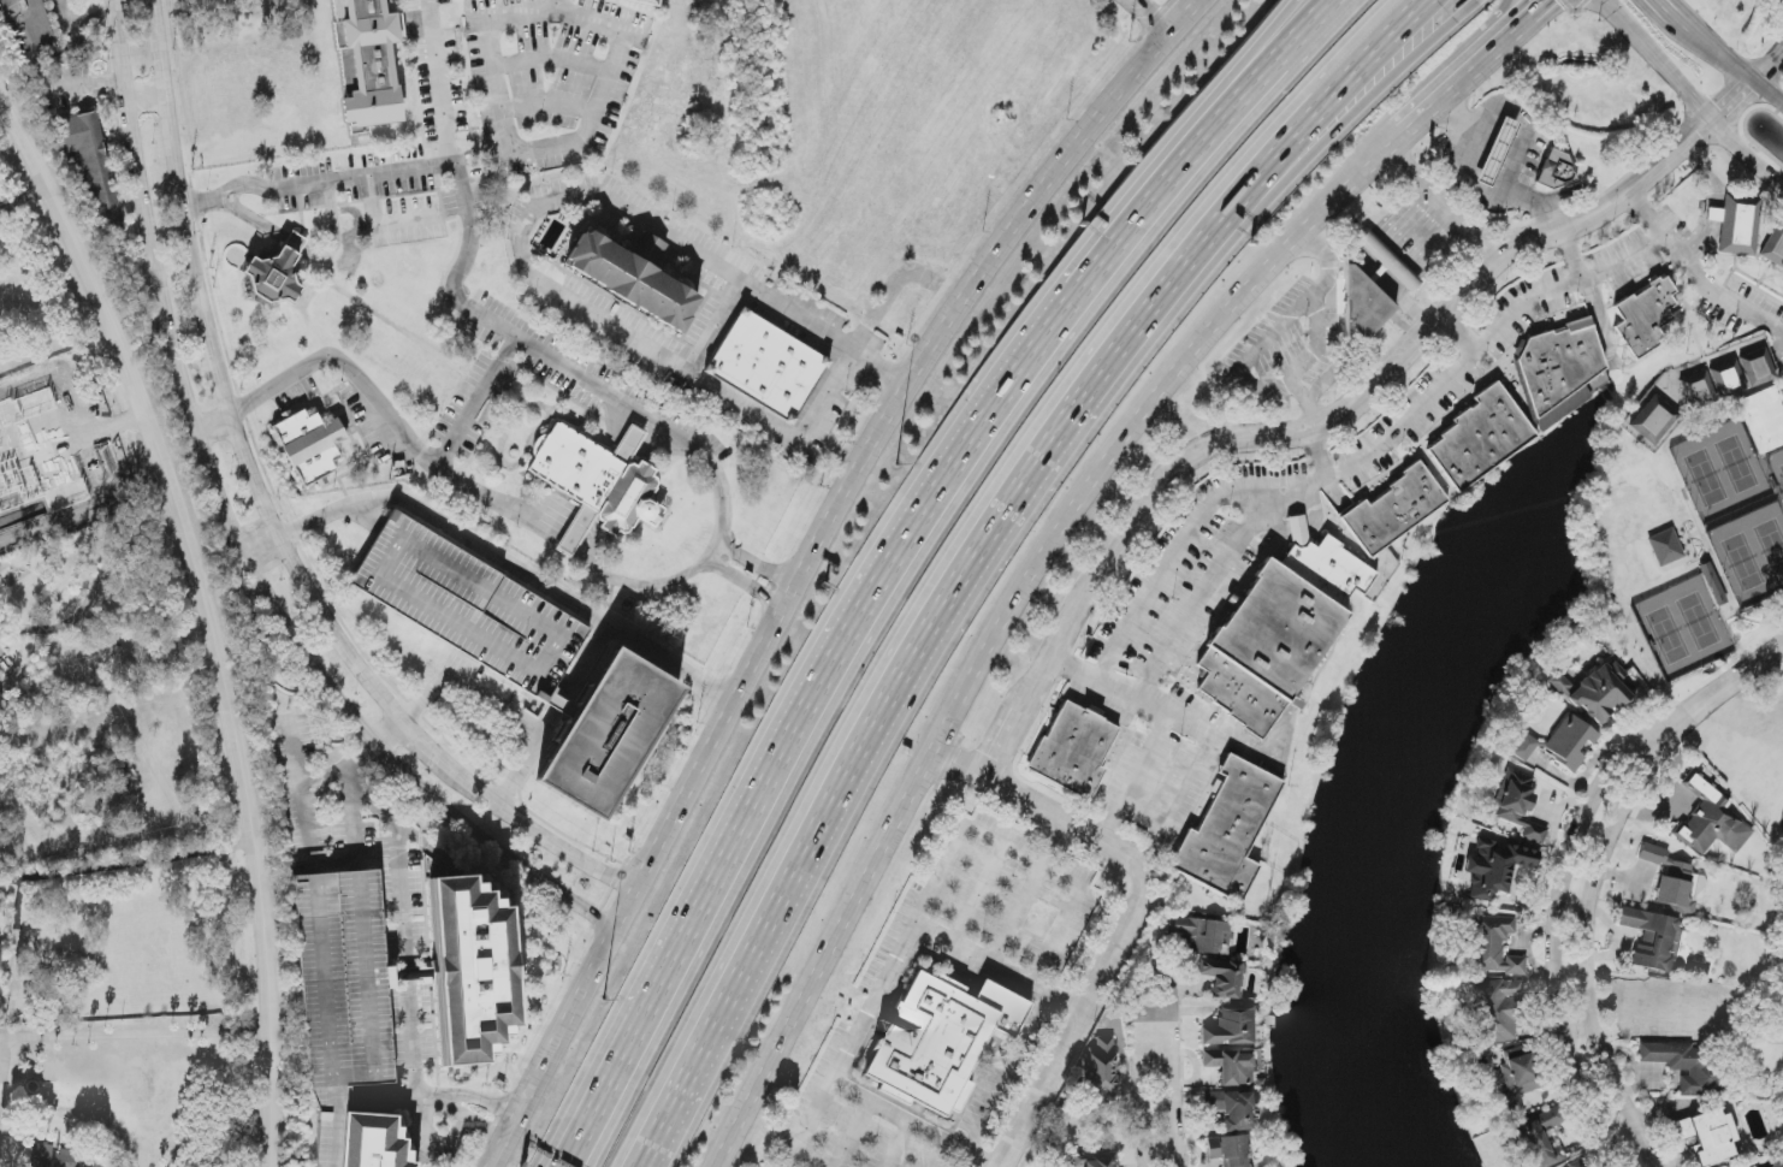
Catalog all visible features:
building: (645, 1)
road: (1606, 2)
road: (559, 6)
road: (1664, 7)
road: (557, 13)
road: (1458, 13)
road: (1156, 14)
road: (1507, 25)
road: (1526, 25)
building: (29, 28)
road: (76, 30)
road: (1728, 59)
building: (368, 60)
road: (552, 60)
road: (1770, 67)
road: (1244, 71)
road: (1252, 71)
road: (1349, 76)
road: (438, 84)
road: (147, 91)
road: (1363, 91)
road: (83, 94)
road: (1452, 95)
road: (1690, 101)
road: (1734, 103)
road: (549, 106)
road: (535, 150)
building: (1497, 152)
gas station: (1497, 152)
road: (1518, 155)
road: (1670, 158)
road: (1380, 162)
road: (1458, 162)
building: (1556, 171)
building: (90, 173)
road: (461, 178)
road: (245, 186)
road: (23, 199)
road: (202, 203)
road: (557, 203)
road: (1443, 203)
road: (1713, 203)
building: (1714, 215)
building: (1738, 224)
road: (381, 225)
building: (1773, 248)
road: (303, 254)
road: (1569, 257)
road: (1382, 262)
building: (278, 272)
road: (1694, 274)
building: (632, 282)
building: (1362, 307)
building: (1645, 318)
road: (717, 331)
road: (1457, 331)
road: (1275, 337)
road: (1316, 344)
building: (1559, 362)
road: (1462, 365)
building: (766, 366)
building: (1758, 367)
road: (346, 368)
building: (1726, 379)
road: (834, 389)
building: (1696, 390)
road: (1305, 403)
road: (476, 405)
building: (1765, 419)
building: (1652, 421)
road: (661, 423)
road: (214, 426)
road: (1256, 433)
building: (1480, 437)
building: (310, 446)
road: (1317, 451)
building: (598, 484)
building: (1393, 510)
road: (273, 522)
road: (1298, 526)
road: (451, 529)
road: (237, 538)
road: (901, 540)
road: (575, 545)
building: (1665, 547)
road: (815, 562)
road: (758, 567)
road: (1169, 568)
building: (1713, 582)
road: (747, 586)
road: (95, 590)
road: (1203, 599)
building: (470, 608)
road: (206, 616)
building: (1279, 630)
road: (639, 642)
road: (938, 645)
road: (1000, 648)
road: (1738, 680)
road: (467, 686)
building: (1597, 691)
road: (562, 706)
road: (1193, 730)
building: (608, 734)
road: (395, 742)
building: (1569, 742)
building: (1524, 747)
building: (1073, 750)
road: (1260, 759)
road: (526, 762)
road: (1133, 780)
park: (1757, 782)
road: (301, 801)
building: (1517, 805)
building: (1711, 821)
building: (1228, 831)
road: (99, 867)
building: (1495, 867)
building: (1671, 881)
road: (932, 891)
road: (1026, 893)
road: (977, 896)
road: (1132, 918)
road: (1559, 920)
road: (1589, 934)
building: (1201, 935)
building: (1652, 938)
building: (1495, 947)
road: (409, 958)
road: (1000, 968)
building: (472, 970)
building: (1222, 977)
building: (344, 979)
building: (1693, 1007)
building: (1495, 1011)
building: (1231, 1027)
road: (131, 1035)
building: (940, 1039)
building: (1683, 1064)
road: (605, 1067)
road: (615, 1067)
building: (1231, 1067)
building: (1101, 1071)
road: (1009, 1074)
building: (1517, 1083)
road: (1175, 1085)
road: (1142, 1101)
building: (1231, 1109)
road: (474, 1120)
road: (912, 1125)
road: (852, 1135)
building: (1707, 1136)
building: (1540, 1139)
building: (372, 1142)
park: (1781, 1142)
road: (895, 1144)
building: (1230, 1150)
road: (943, 1155)
building: (53, 1157)
building: (1096, 1160)
building: (1576, 1163)
building: (1752, 1166)

